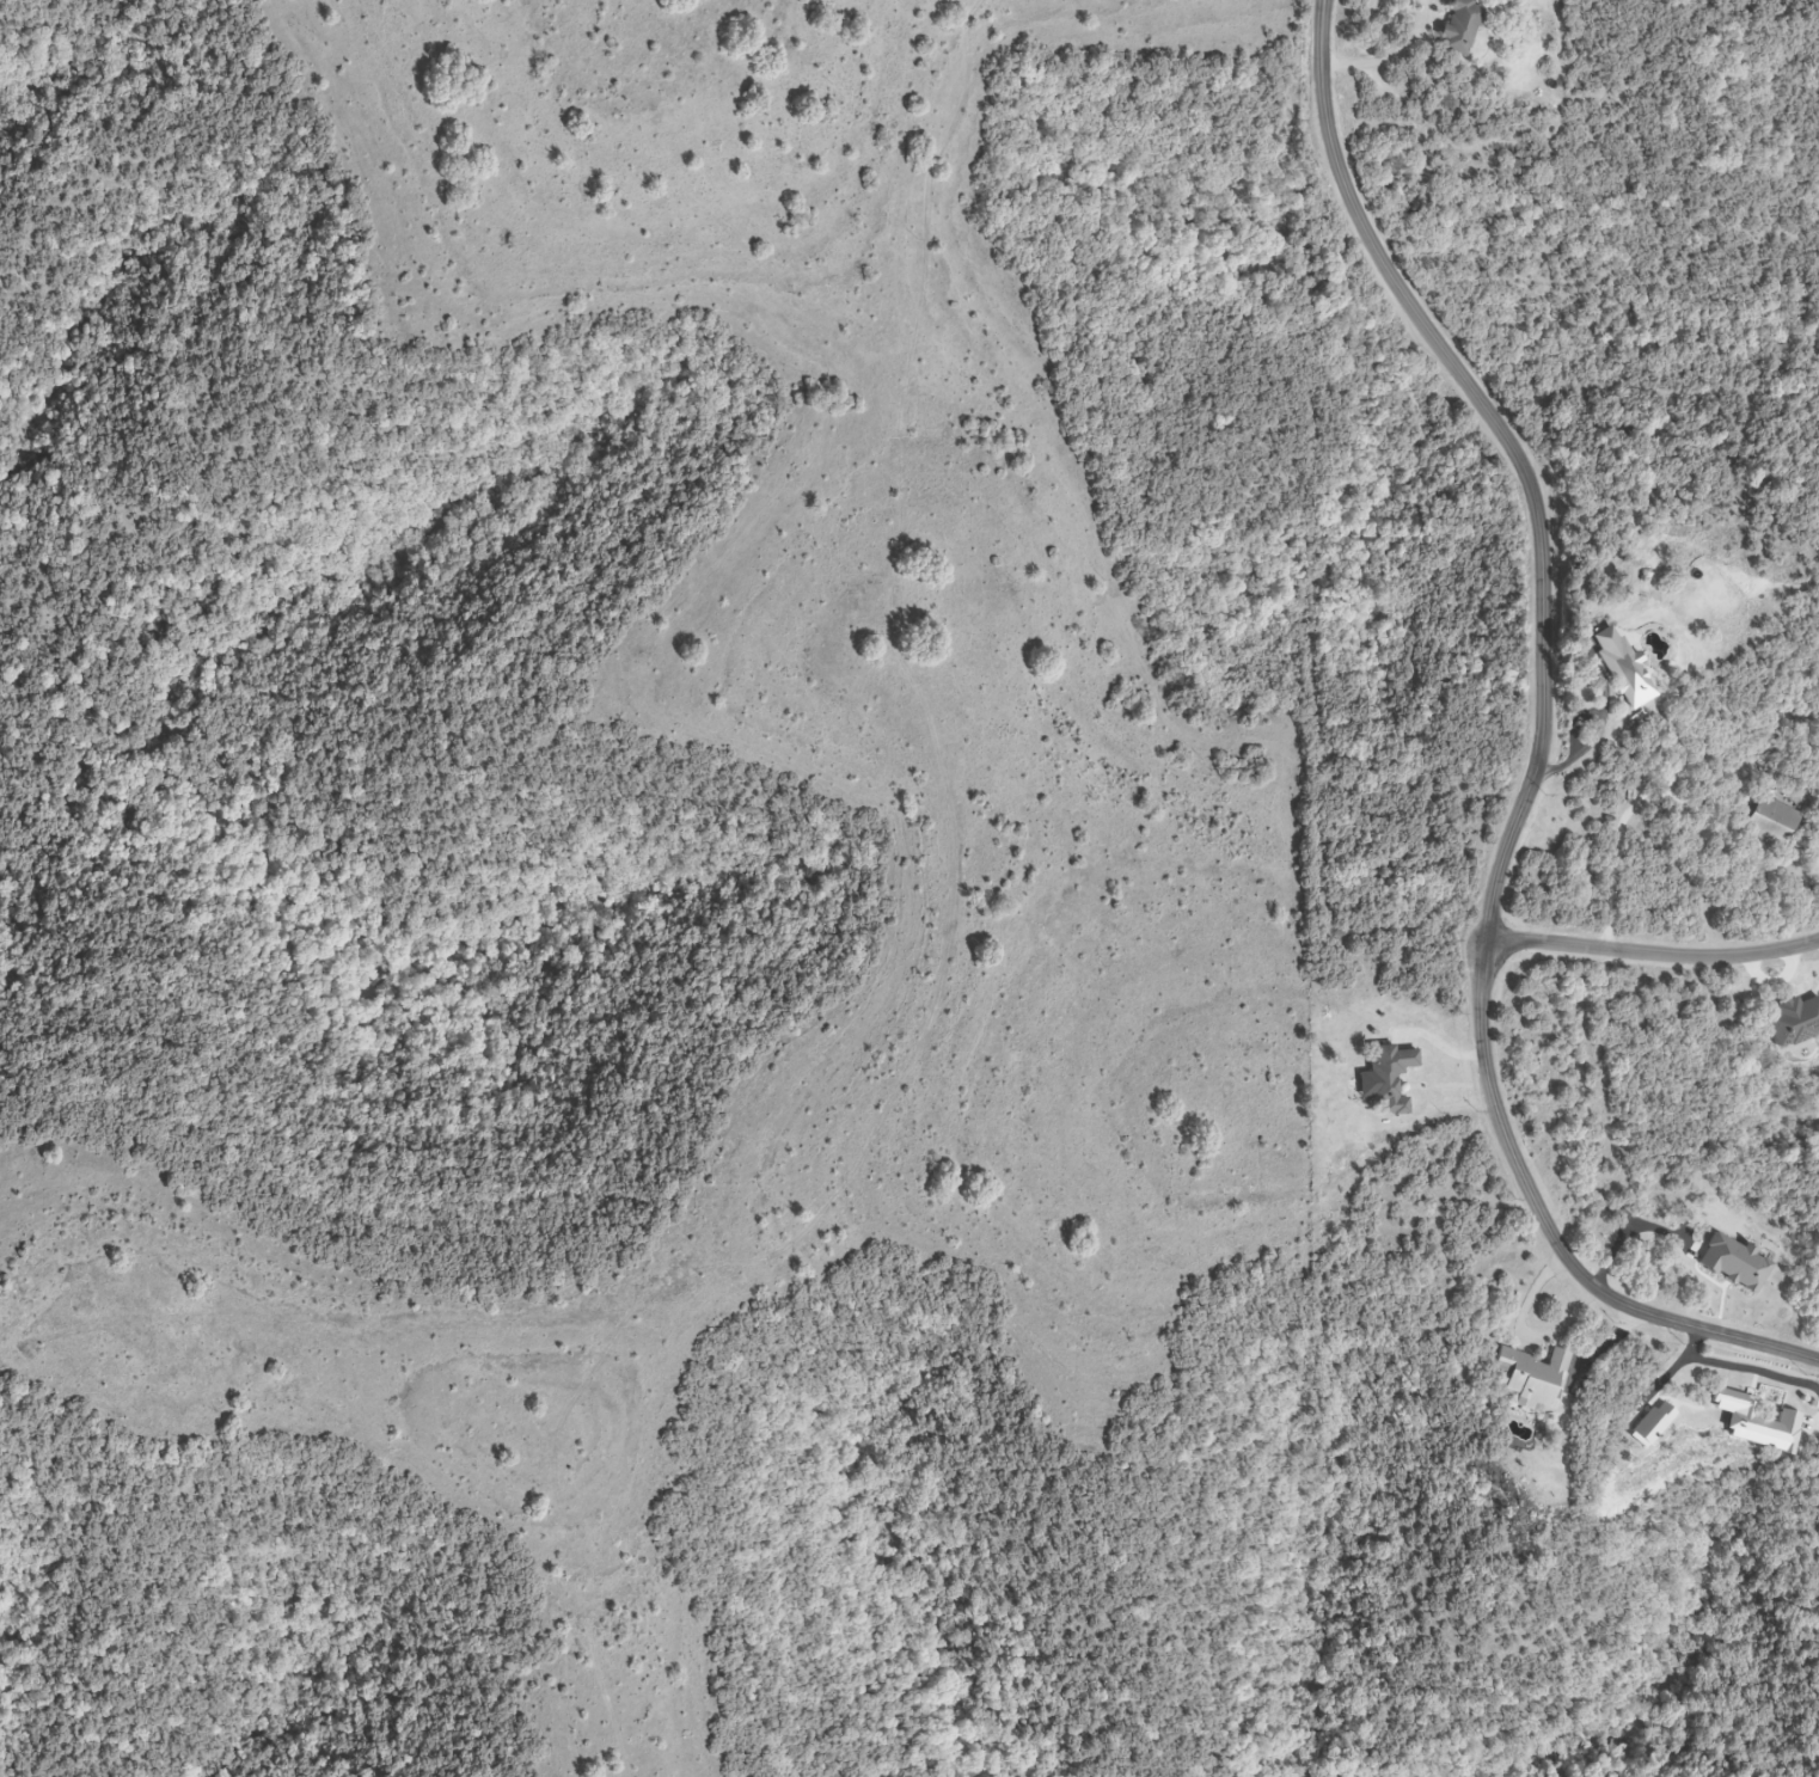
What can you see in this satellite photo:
building: (1456, 26)
road: (1395, 61)
building: (1655, 656)
building: (1623, 674)
road: (1542, 750)
building: (1769, 822)
road: (1622, 834)
road: (1653, 954)
building: (1793, 1021)
building: (1386, 1078)
building: (1527, 1378)

